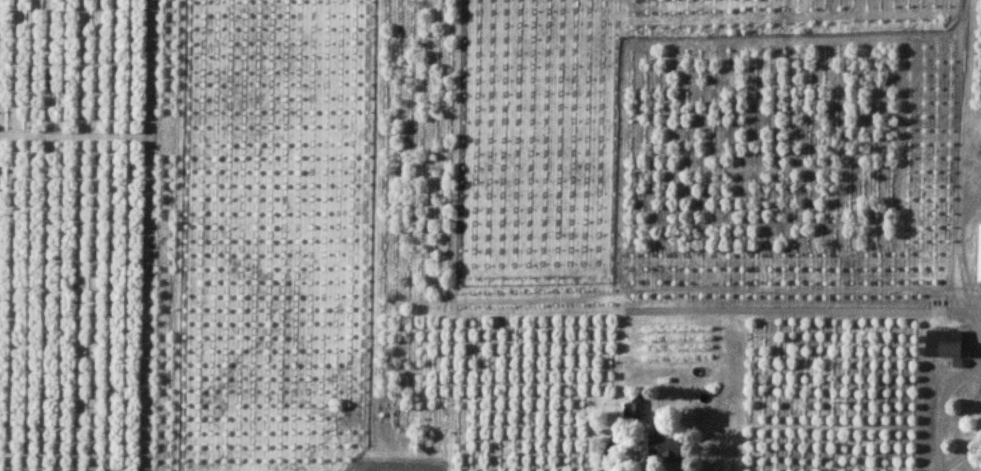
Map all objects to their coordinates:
road: (969, 259)
building: (980, 268)
building: (947, 345)
building: (633, 411)
road: (947, 413)
building: (666, 448)

